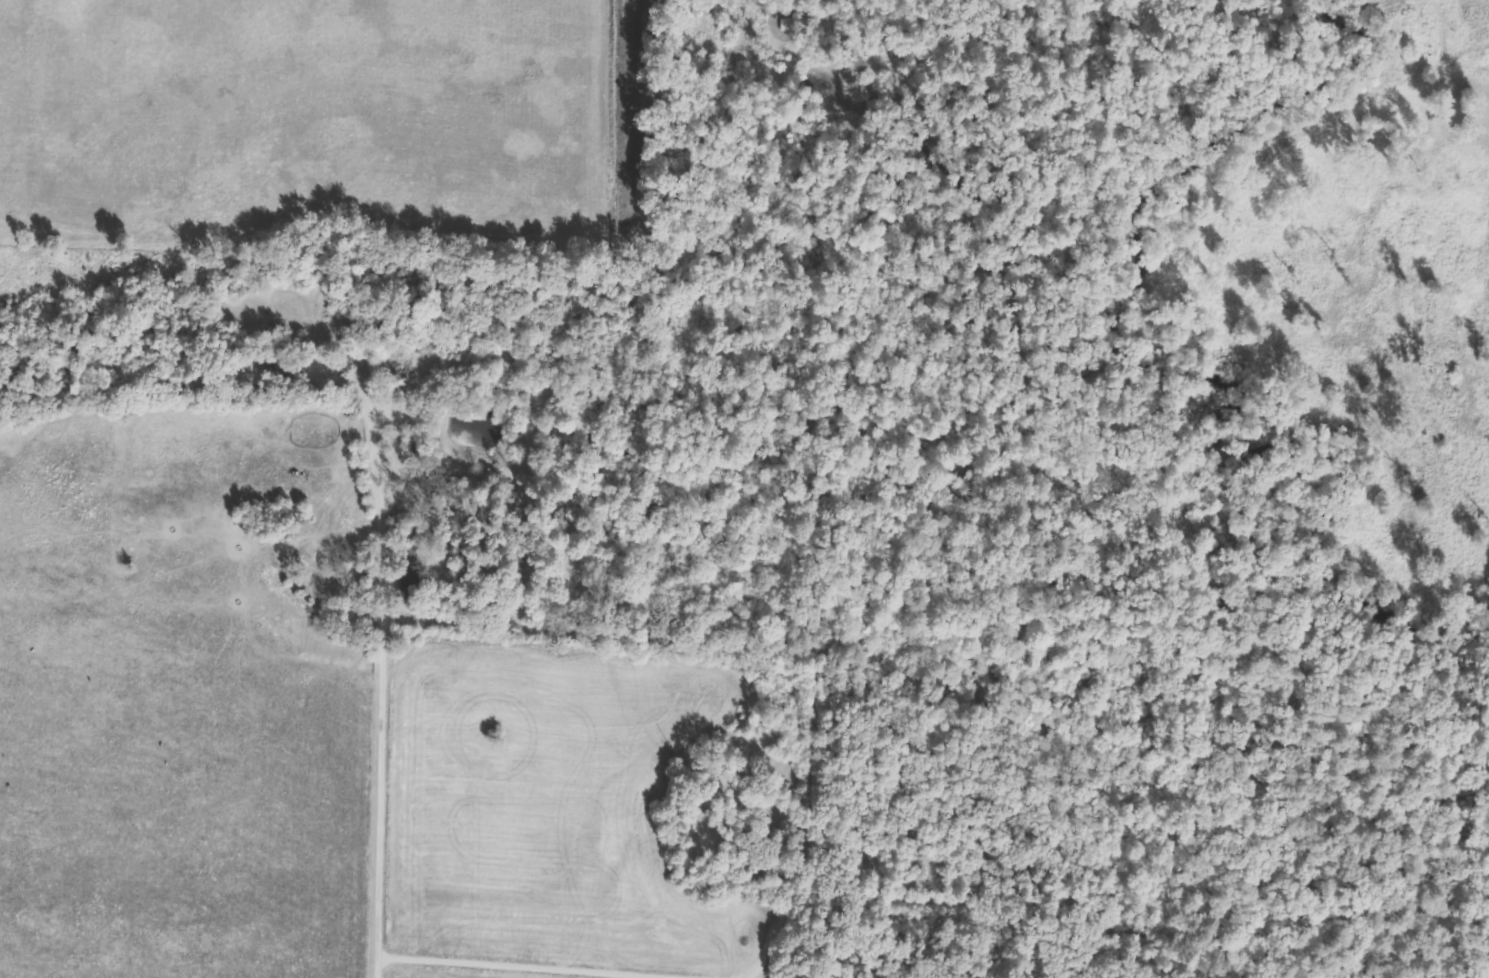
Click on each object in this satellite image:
building: (398, 394)
building: (409, 582)
road: (531, 599)
road: (380, 697)

